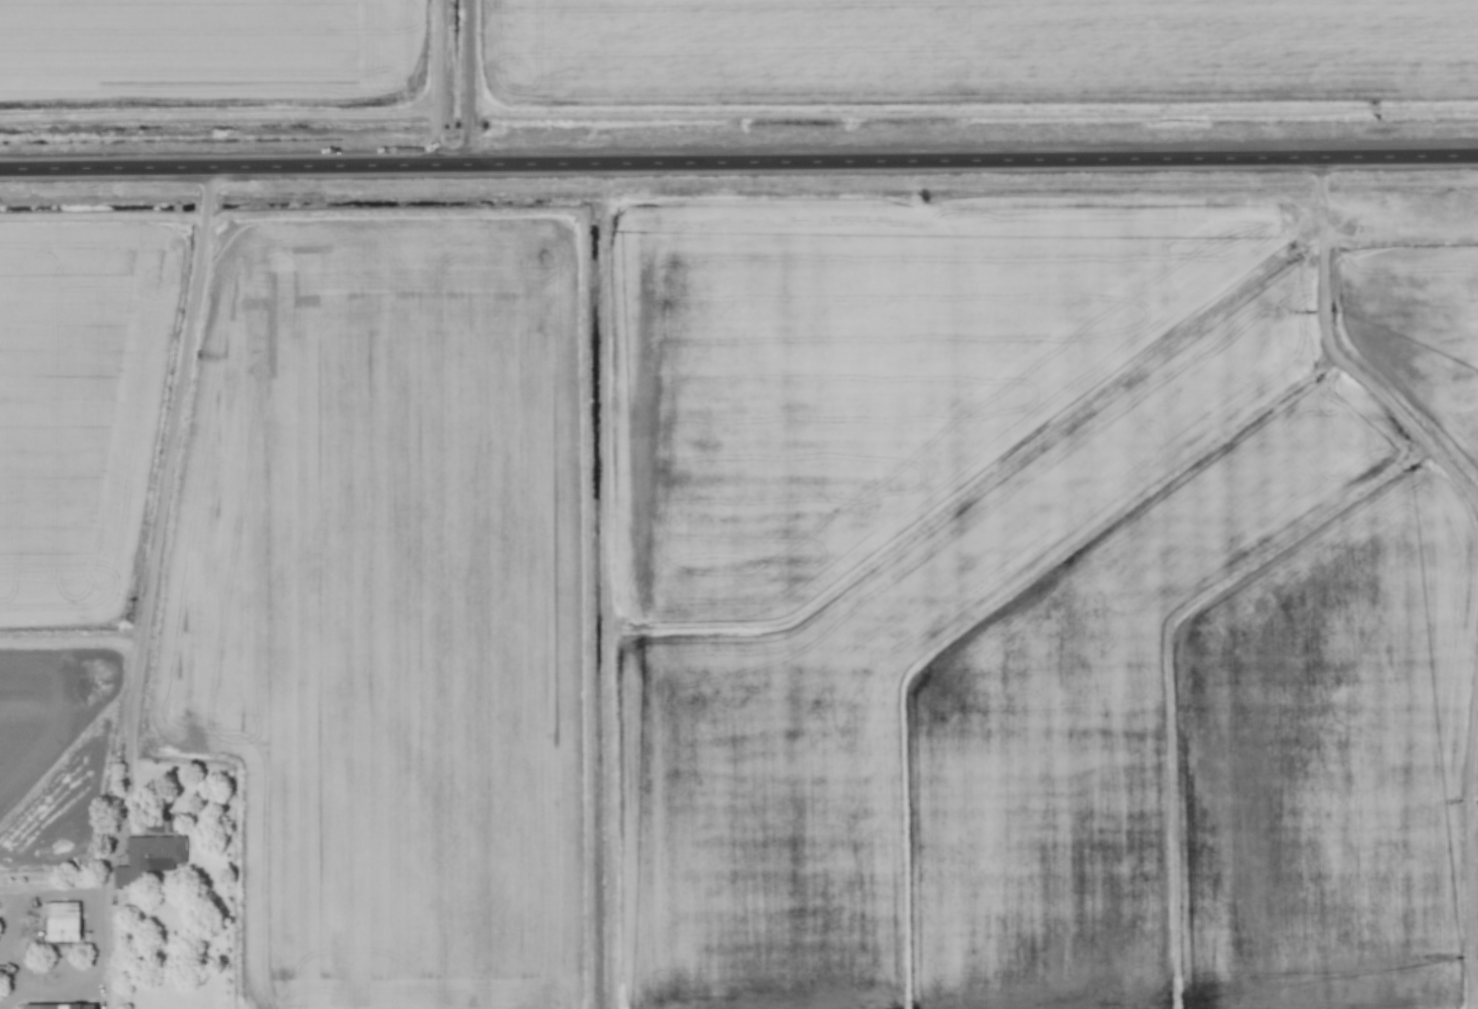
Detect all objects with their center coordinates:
road: (477, 84)
road: (739, 166)
road: (173, 496)
building: (148, 857)
building: (60, 921)
building: (56, 1006)

